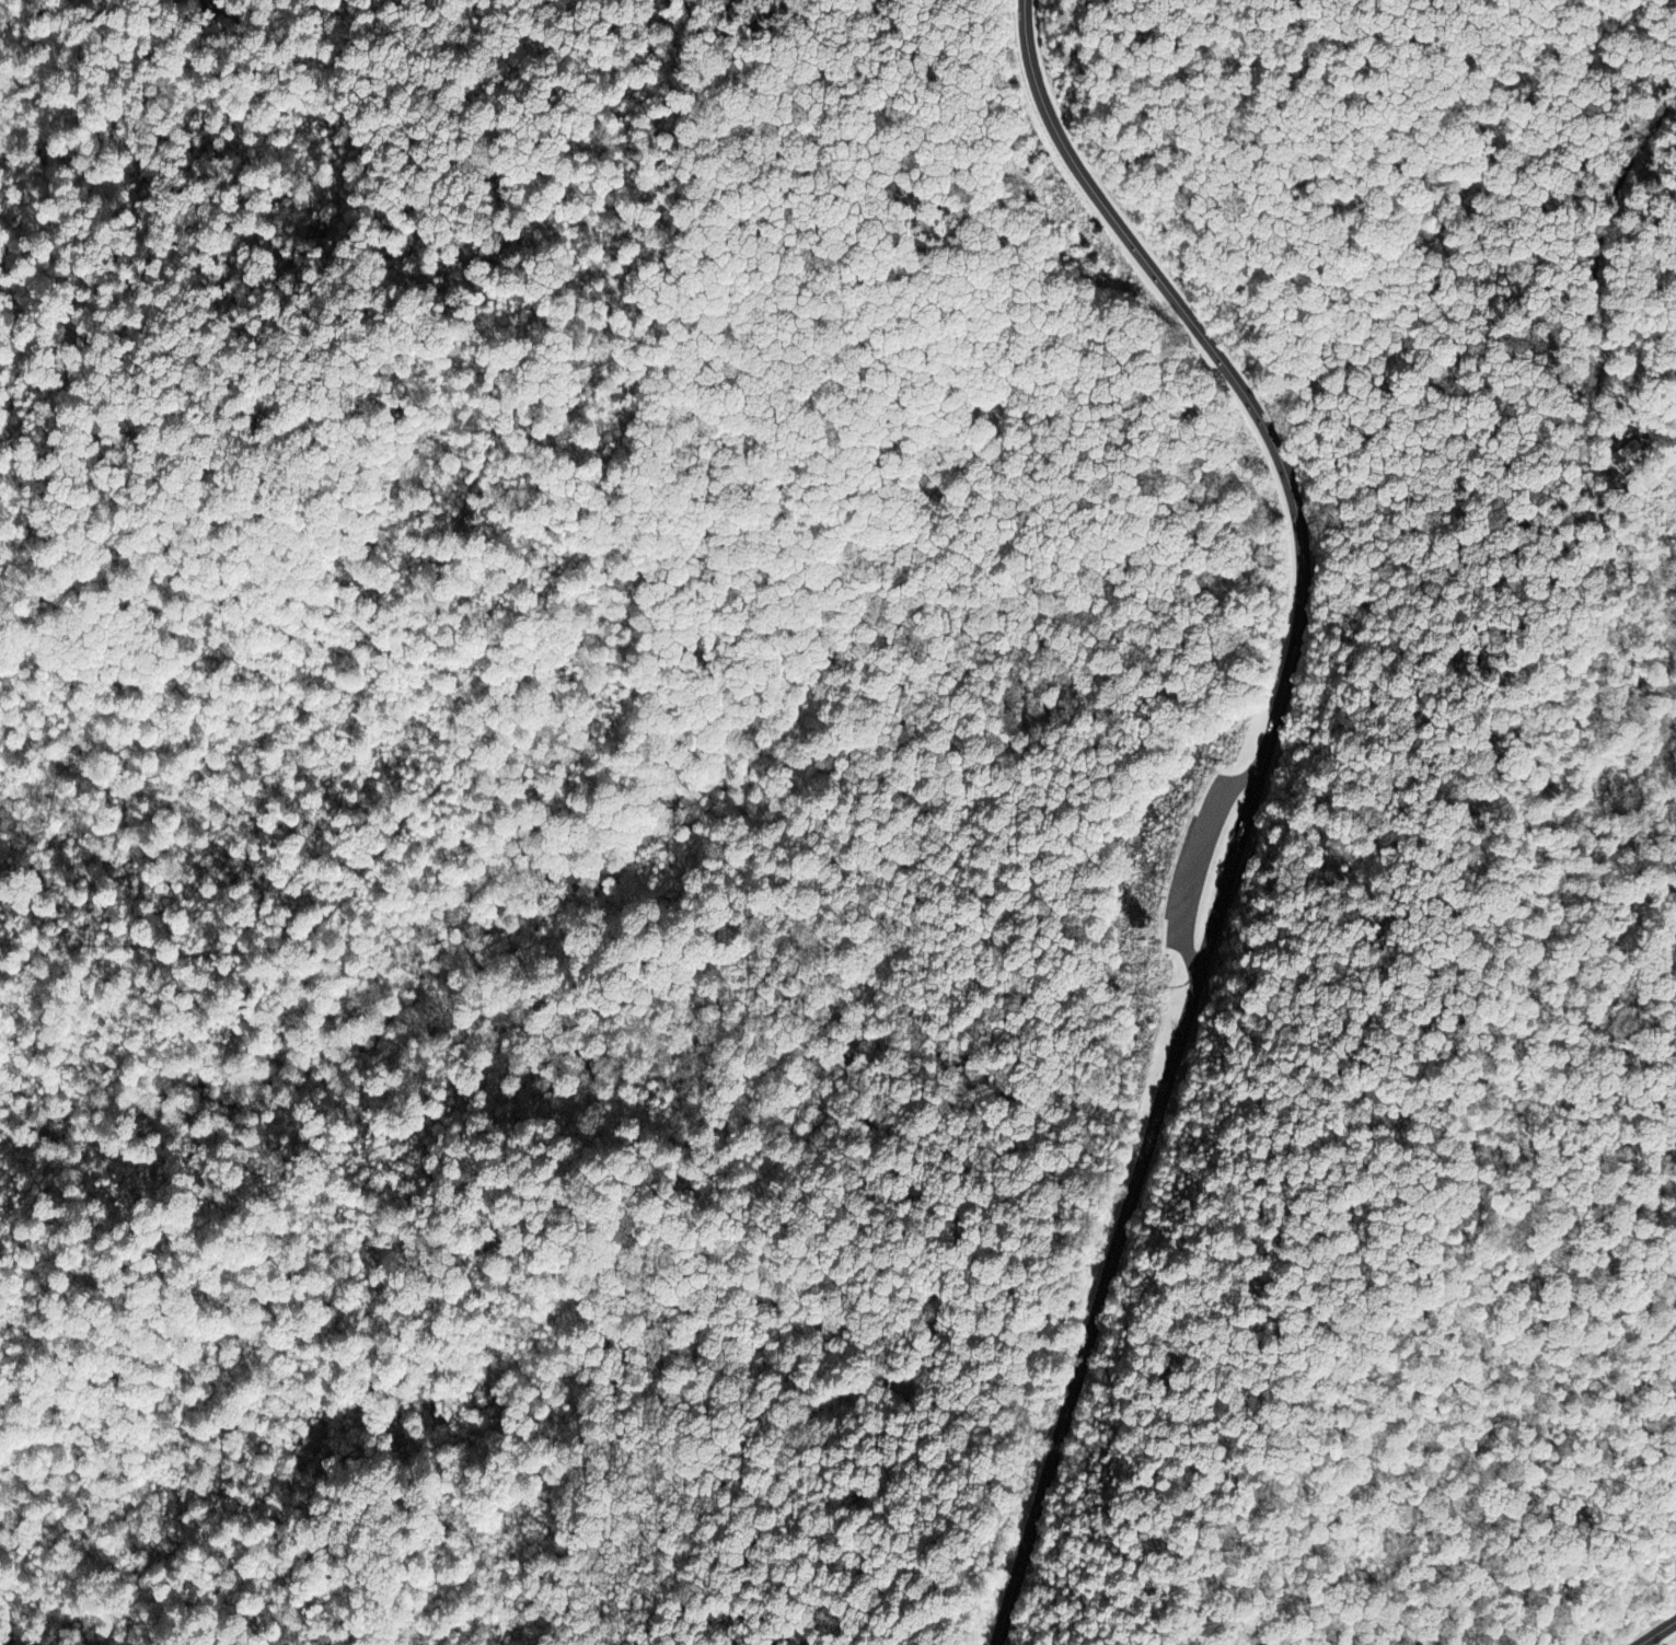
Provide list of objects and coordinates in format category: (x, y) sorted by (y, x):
road: (1114, 218)
building: (1628, 457)
parking lot: (1199, 858)
road: (1193, 859)
road: (1387, 862)
road: (1170, 946)
road: (1182, 1029)
road: (1504, 1513)
road: (1656, 1632)

